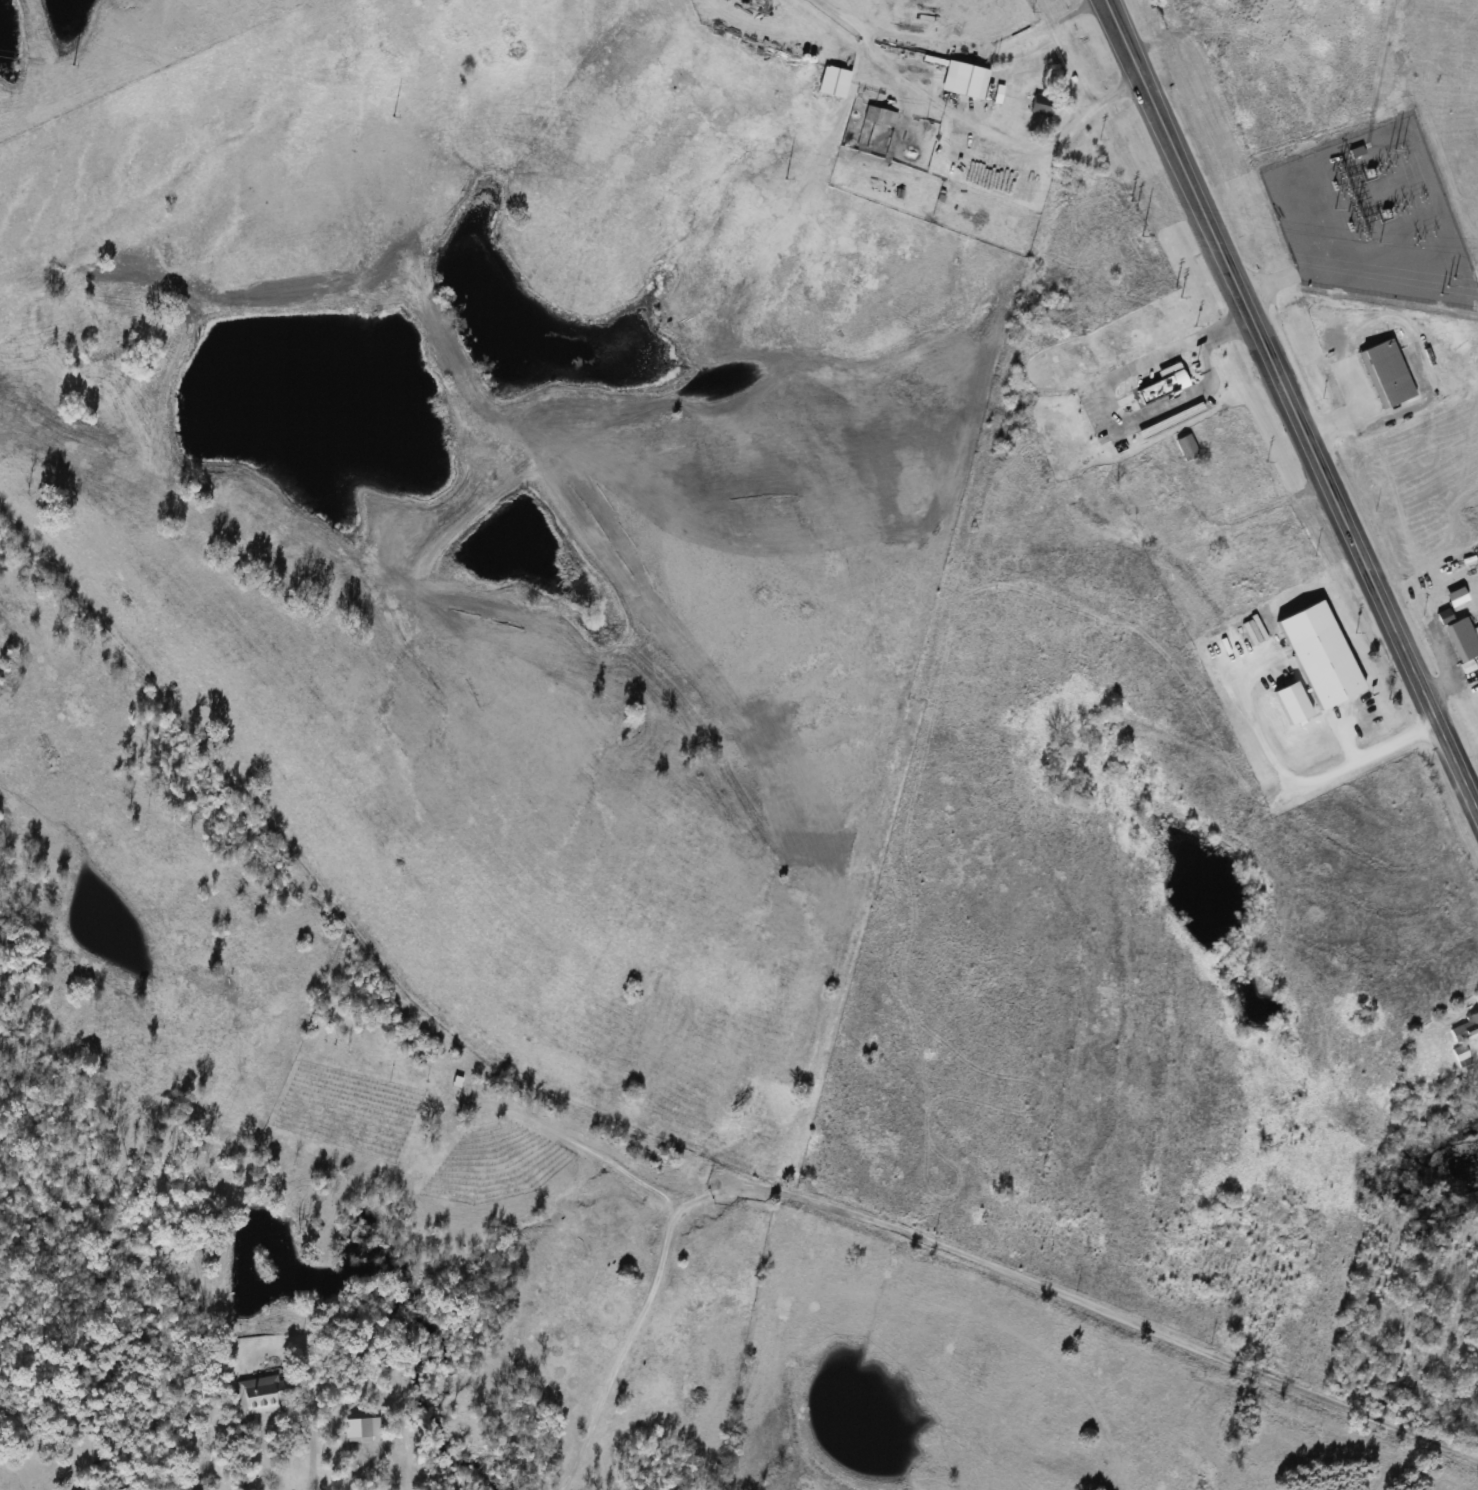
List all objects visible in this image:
power tower: (73, 64)
building: (963, 79)
building: (832, 80)
building: (997, 94)
road: (1153, 103)
power tower: (393, 114)
building: (878, 115)
road: (1005, 137)
power tower: (786, 178)
power substation: (1371, 217)
power tower: (1142, 237)
building: (1388, 371)
building: (1159, 380)
road: (1107, 390)
road: (1354, 412)
building: (1169, 420)
building: (1185, 446)
road: (1340, 506)
building: (1461, 638)
building: (1324, 665)
building: (1291, 702)
road: (1307, 778)
building: (1465, 1027)
building: (1460, 1055)
road: (603, 1152)
road: (937, 1242)
building: (264, 1393)
building: (390, 1451)
road: (311, 1452)
road: (379, 1467)

